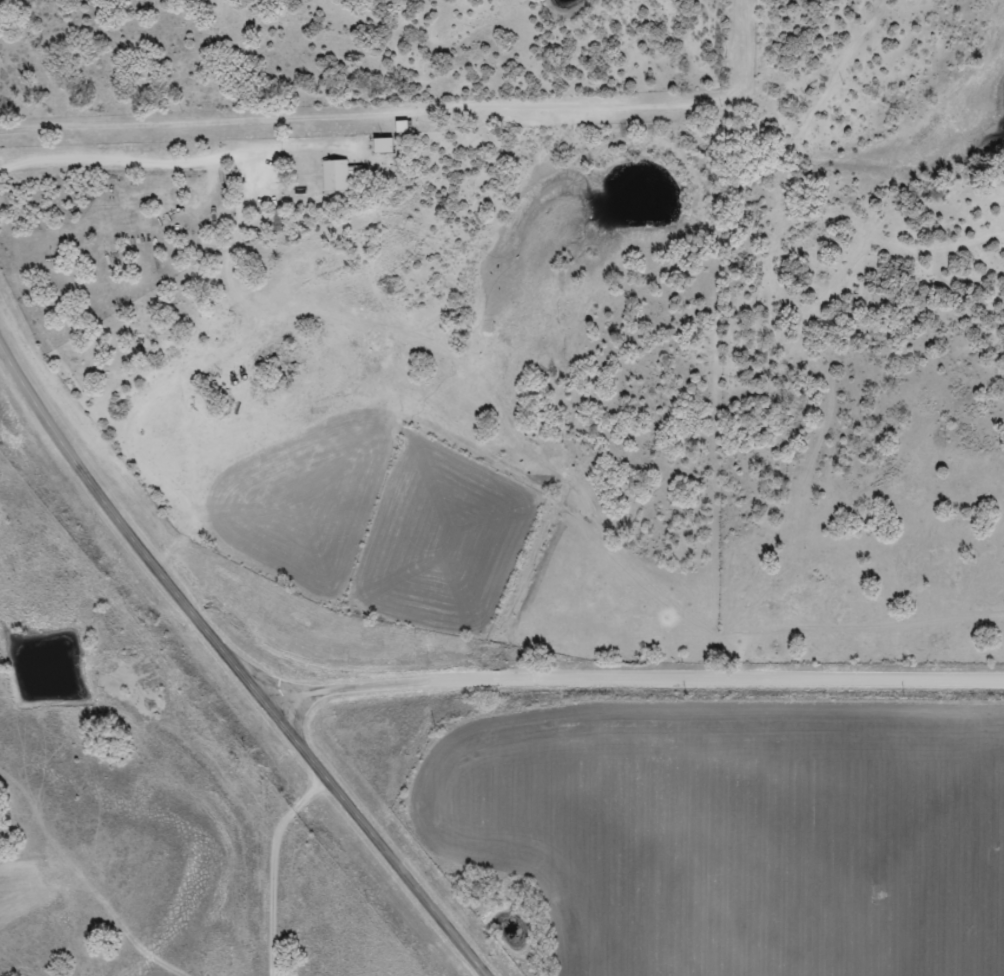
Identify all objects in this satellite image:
building: (383, 147)
building: (339, 176)
building: (277, 221)
road: (240, 662)
road: (643, 704)
road: (286, 843)

